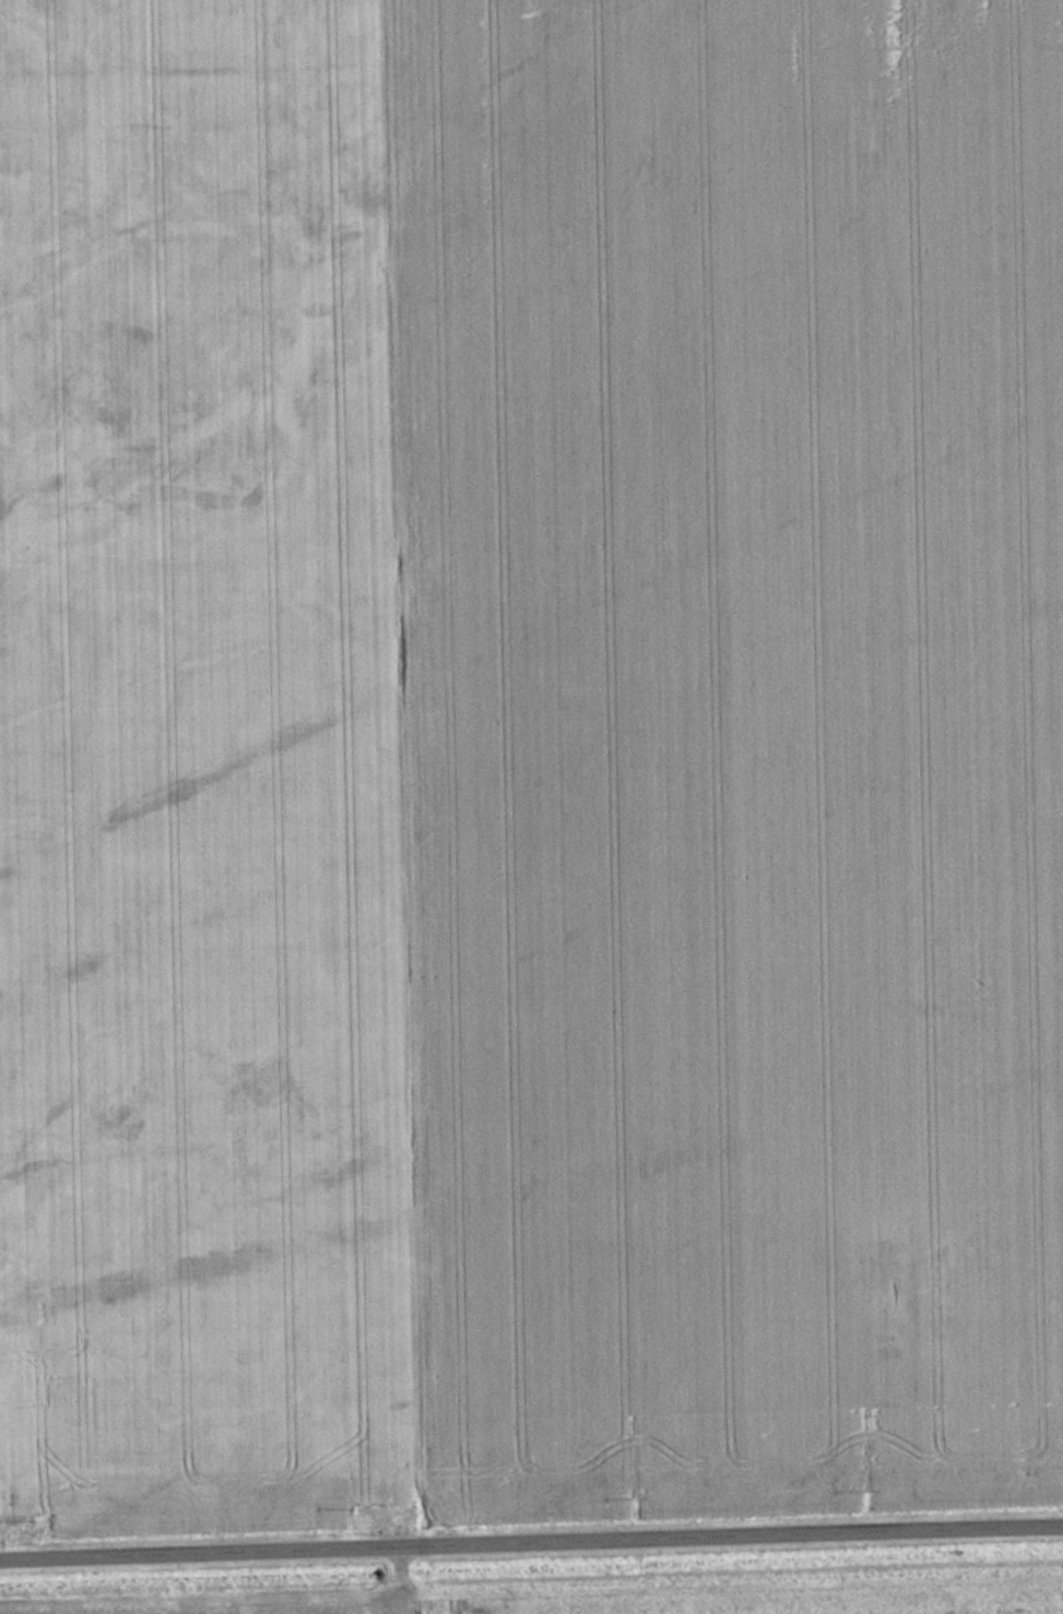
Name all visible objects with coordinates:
road: (531, 1543)

